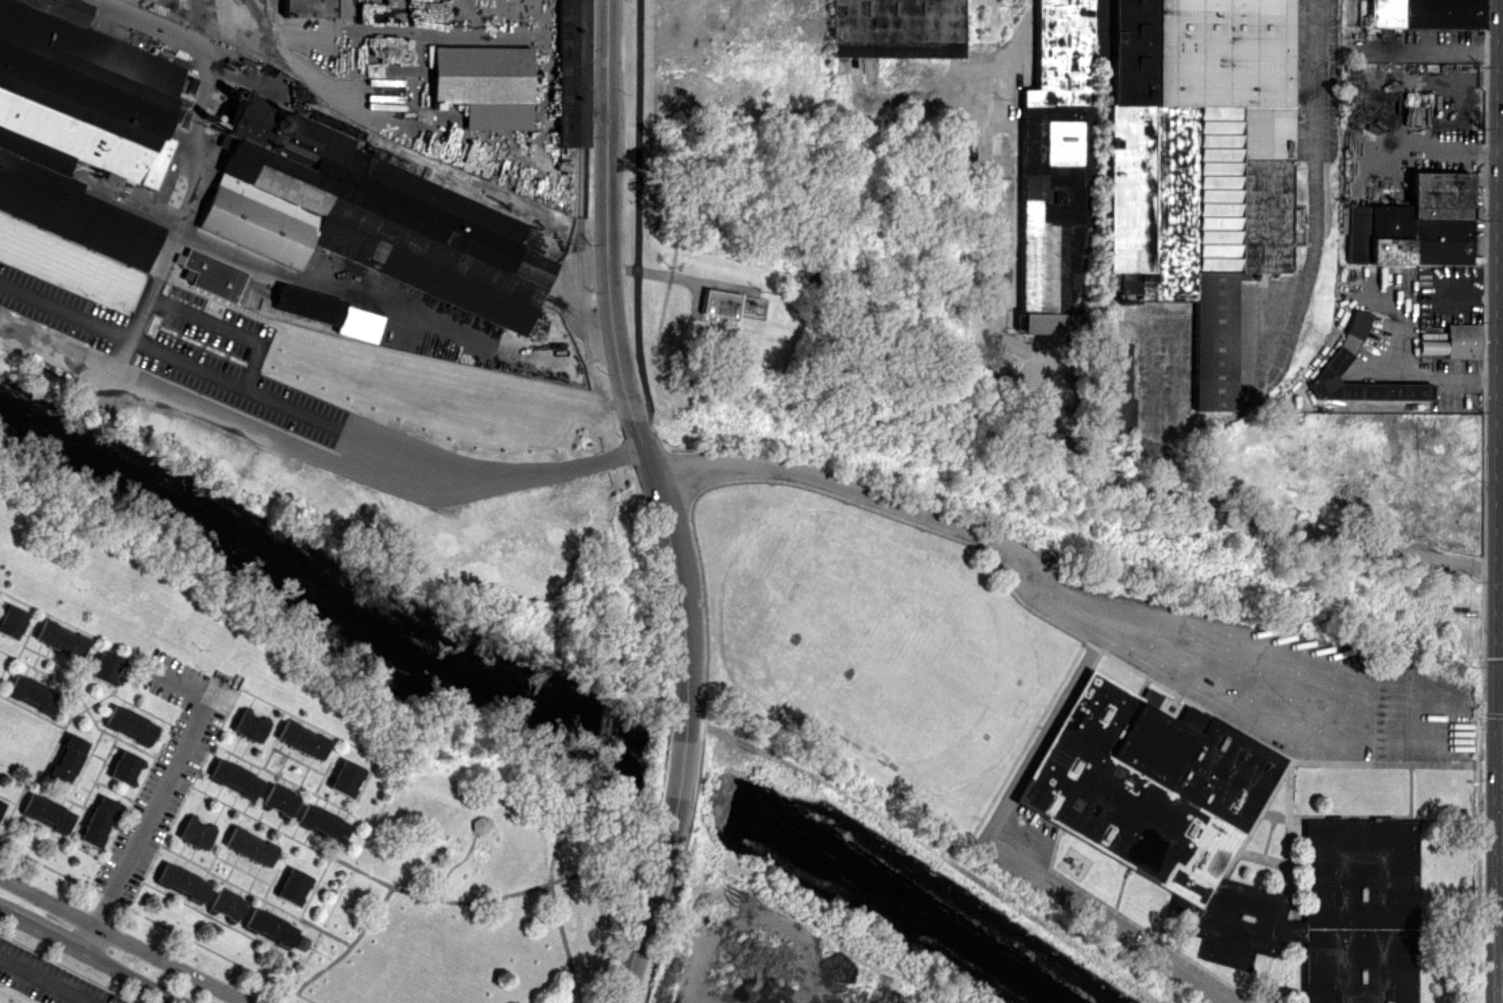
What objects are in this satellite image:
building: (307, 8)
building: (1425, 13)
road: (1024, 24)
building: (896, 27)
road: (263, 31)
road: (1442, 47)
building: (571, 73)
building: (482, 84)
building: (77, 124)
road: (1439, 150)
building: (1191, 161)
building: (1056, 167)
building: (364, 215)
building: (1414, 224)
building: (210, 275)
road: (673, 277)
building: (718, 302)
building: (327, 312)
road: (219, 328)
building: (1450, 341)
road: (168, 352)
road: (619, 354)
road: (1436, 372)
building: (1365, 373)
road: (163, 388)
building: (1112, 392)
road: (1263, 521)
river: (312, 597)
building: (11, 620)
building: (59, 639)
park: (876, 649)
building: (104, 666)
road: (1191, 682)
parking lot: (1325, 692)
building: (31, 693)
road: (184, 696)
building: (129, 724)
building: (248, 726)
railway: (603, 732)
building: (301, 739)
road: (1012, 744)
river: (655, 756)
building: (65, 759)
building: (123, 767)
river: (680, 768)
road: (680, 771)
building: (344, 777)
building: (233, 778)
river: (704, 779)
building: (278, 799)
building: (1, 804)
building: (46, 812)
road: (244, 818)
building: (97, 821)
building: (321, 822)
building: (478, 824)
road: (143, 831)
building: (194, 833)
building: (1230, 838)
building: (248, 846)
road: (1010, 858)
building: (181, 881)
building: (292, 886)
river: (894, 891)
park: (483, 893)
building: (225, 903)
road: (196, 919)
road: (644, 921)
building: (268, 927)
road: (123, 940)
building: (298, 942)
park: (755, 951)
road: (90, 956)
road: (42, 982)

